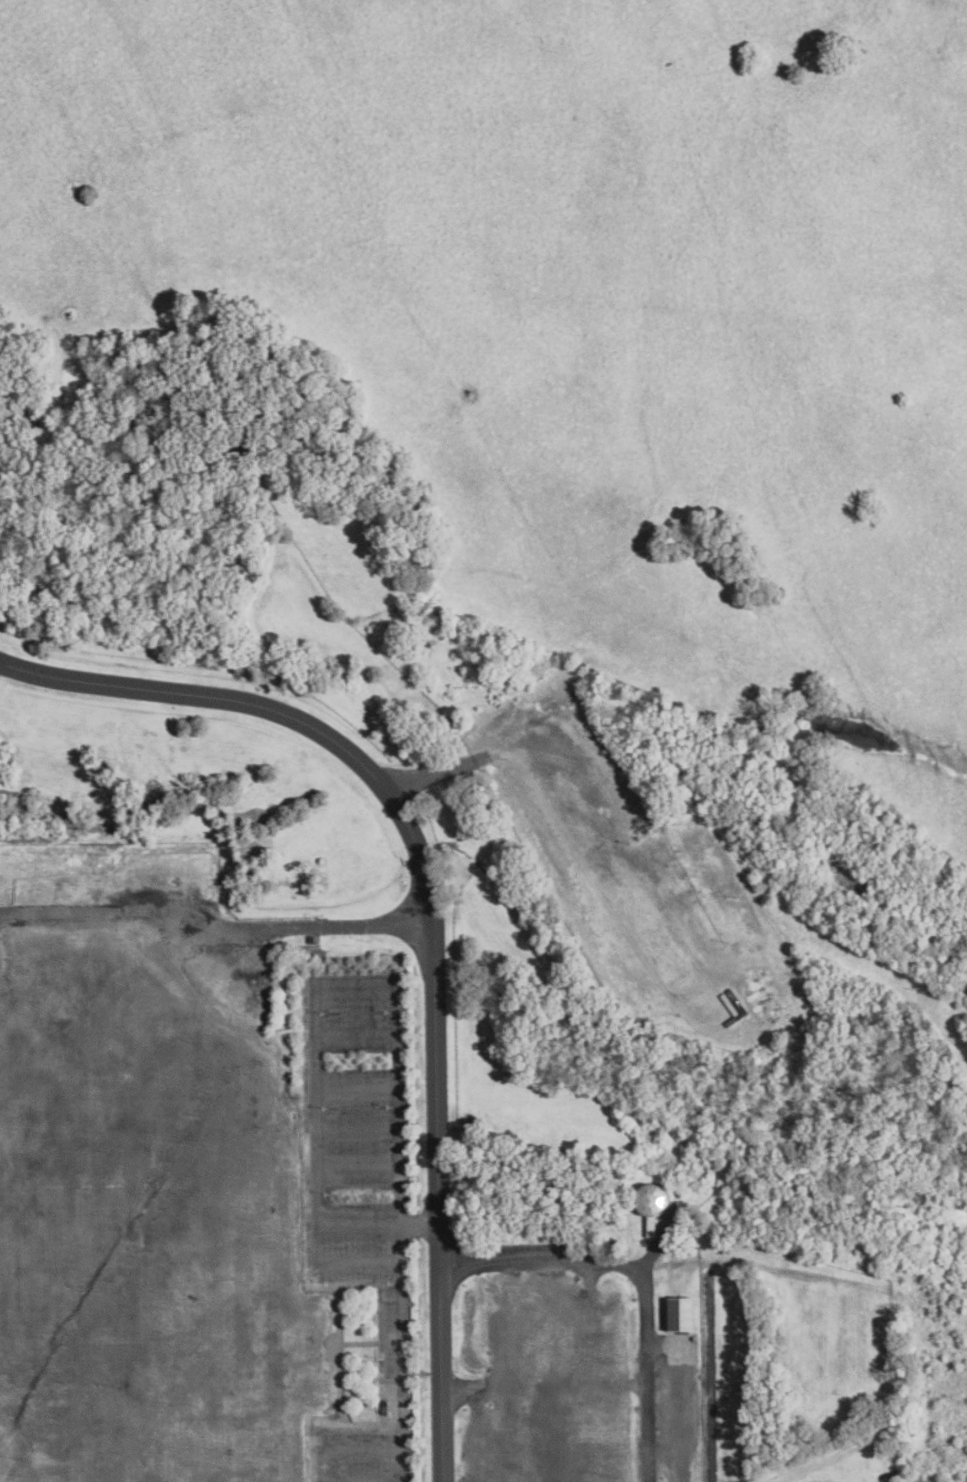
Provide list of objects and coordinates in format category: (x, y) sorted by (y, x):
road: (428, 921)
road: (212, 926)
building: (396, 1143)
building: (651, 1204)
building: (681, 1314)
railway: (711, 1376)

